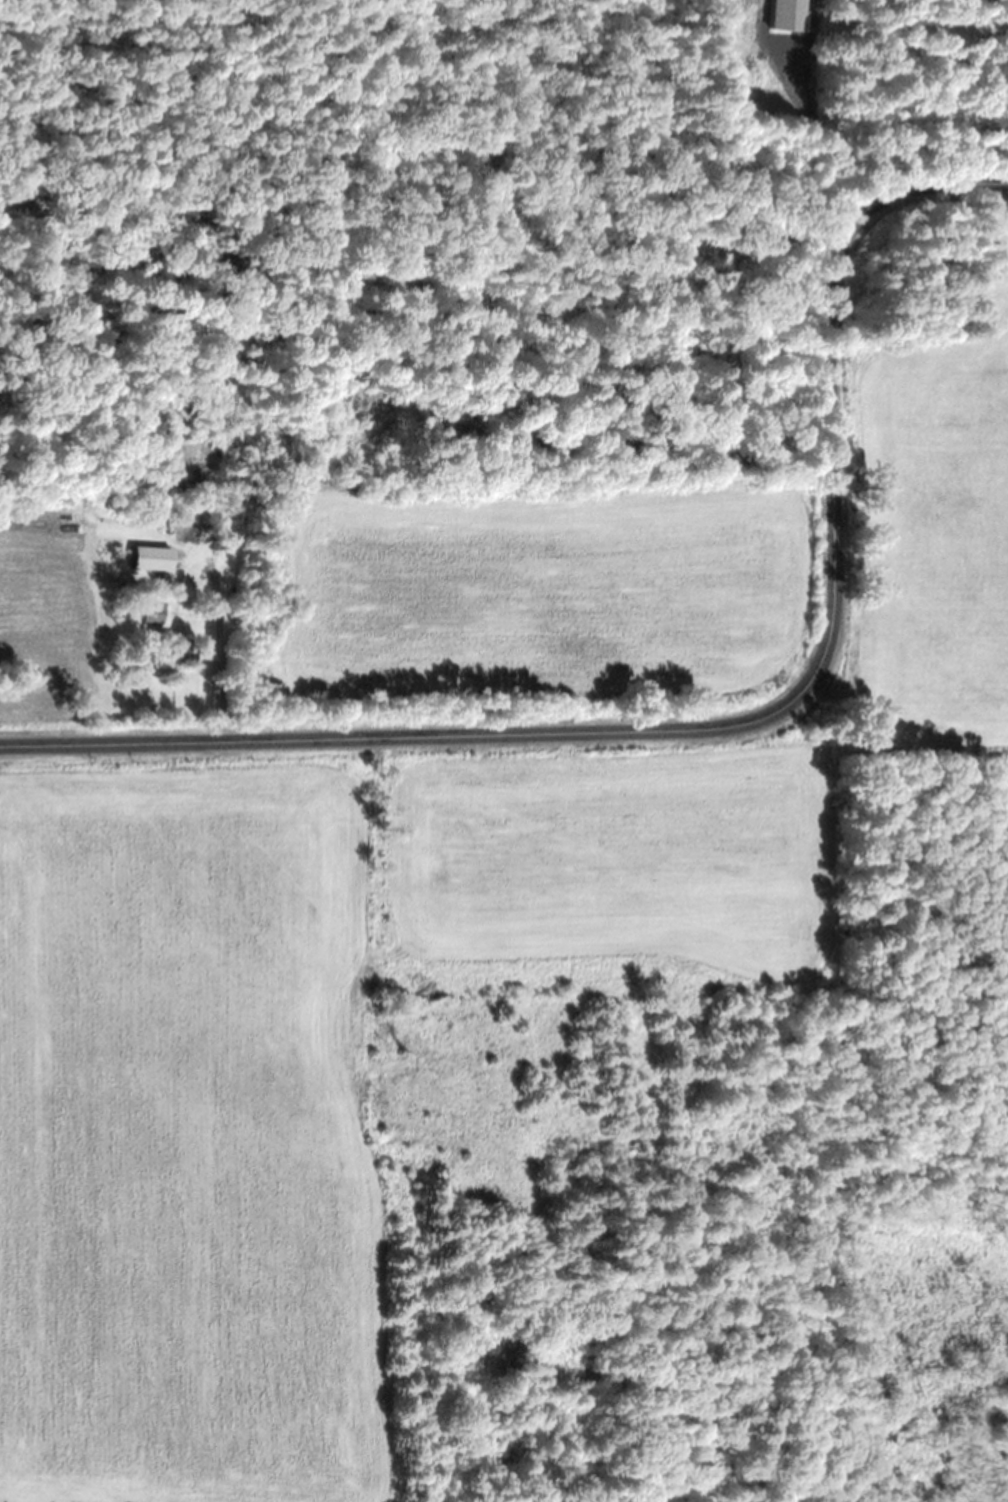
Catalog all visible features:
building: (147, 557)
building: (149, 612)
building: (175, 649)
road: (732, 722)

